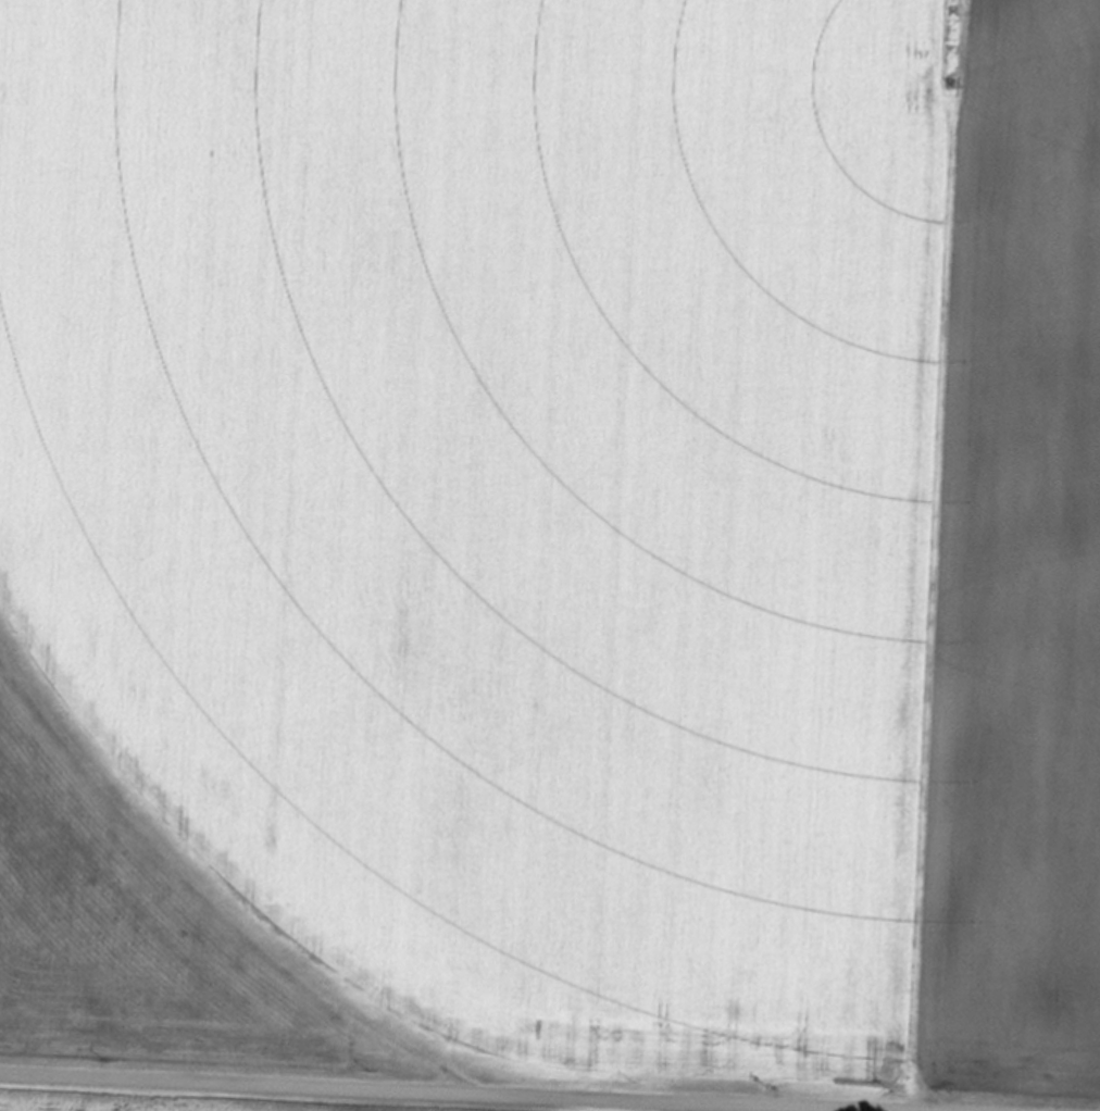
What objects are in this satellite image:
road: (465, 1090)
crop: (216, 1101)

